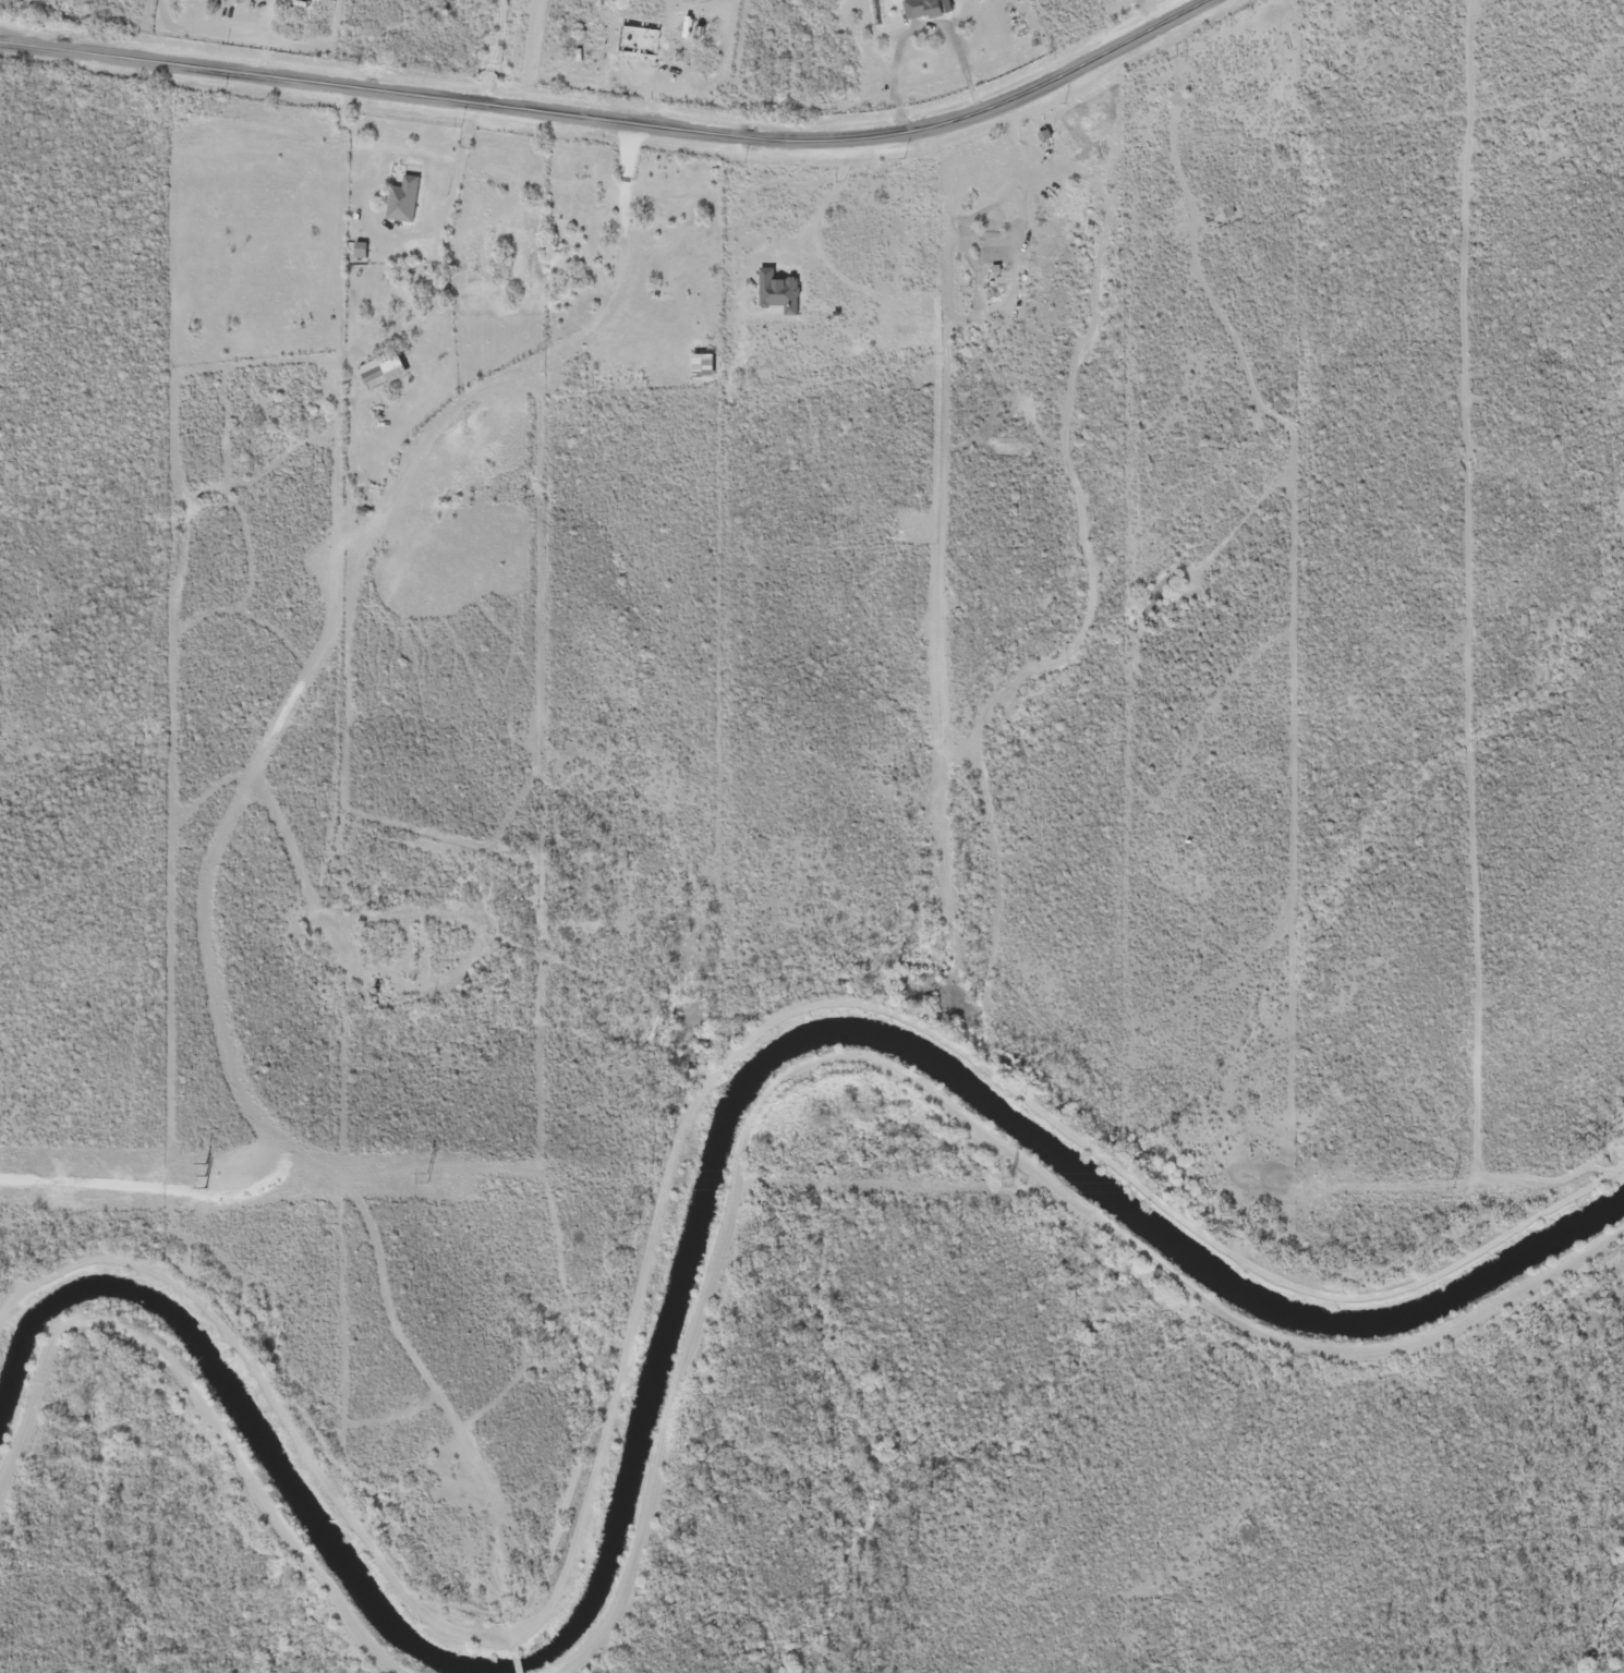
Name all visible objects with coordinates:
building: (926, 7)
road: (620, 131)
building: (404, 195)
building: (779, 287)
building: (705, 361)
building: (383, 366)
road: (213, 871)
power tower: (196, 1177)
power tower: (429, 1178)
power tower: (1010, 1183)
power tower: (1453, 1184)

